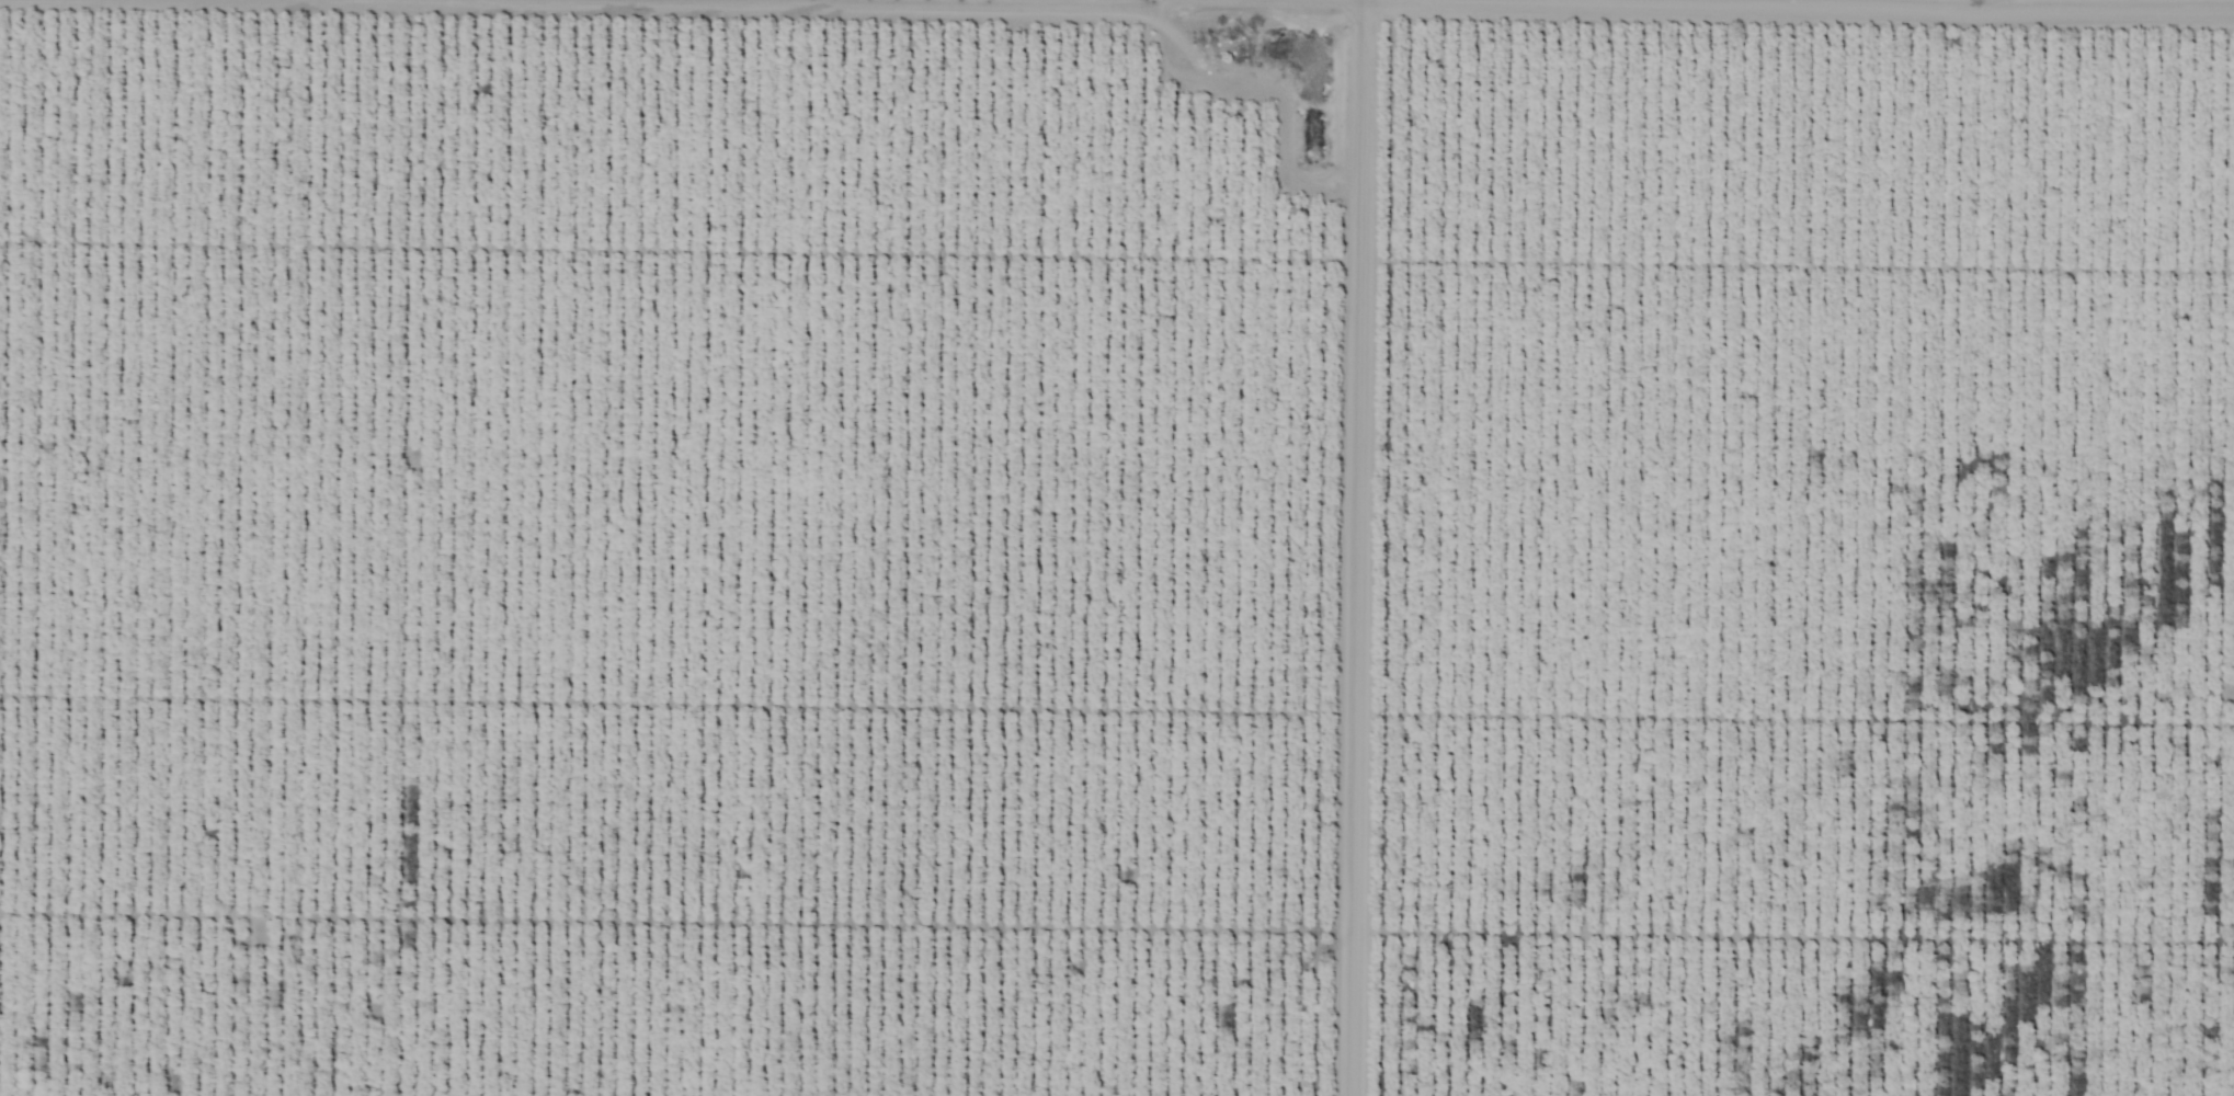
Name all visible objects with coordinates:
road: (1375, 548)

